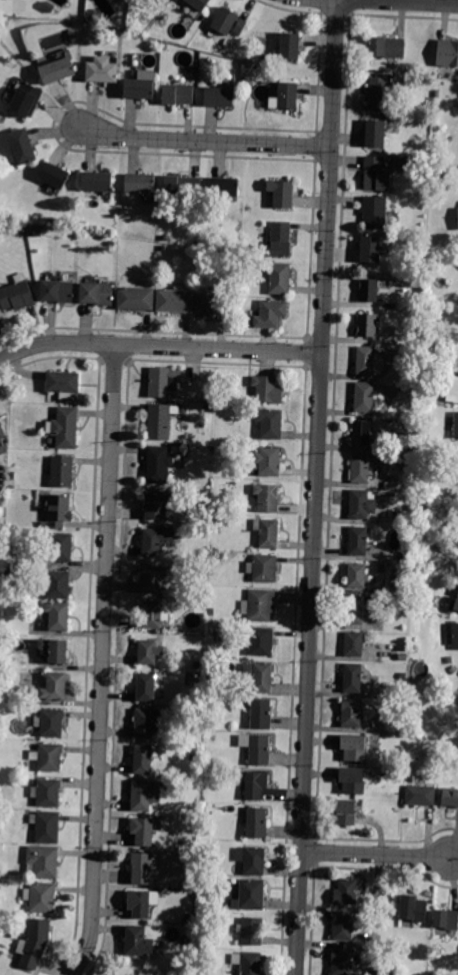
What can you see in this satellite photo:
road: (409, 1)
building: (199, 4)
building: (97, 16)
building: (225, 21)
building: (2, 25)
building: (240, 27)
building: (73, 34)
building: (165, 39)
building: (227, 44)
building: (290, 46)
building: (387, 47)
building: (447, 53)
building: (57, 70)
building: (102, 70)
building: (428, 73)
building: (248, 79)
building: (141, 86)
building: (177, 94)
building: (378, 94)
building: (437, 94)
building: (287, 95)
building: (220, 97)
building: (26, 99)
building: (376, 134)
road: (205, 140)
building: (22, 146)
building: (374, 162)
building: (54, 175)
building: (378, 179)
building: (97, 181)
building: (140, 184)
building: (182, 186)
building: (225, 187)
building: (282, 193)
building: (457, 207)
building: (376, 212)
building: (53, 220)
building: (83, 225)
building: (37, 233)
building: (281, 239)
building: (113, 243)
building: (371, 249)
building: (201, 255)
building: (280, 279)
building: (368, 290)
building: (57, 291)
building: (17, 294)
building: (96, 294)
building: (136, 298)
building: (175, 301)
building: (213, 304)
building: (271, 313)
building: (0, 316)
building: (367, 325)
road: (159, 346)
building: (366, 361)
building: (164, 381)
building: (62, 382)
building: (268, 389)
building: (452, 389)
building: (364, 397)
building: (213, 398)
building: (223, 399)
building: (210, 407)
building: (159, 422)
building: (270, 424)
building: (456, 425)
building: (66, 428)
building: (362, 433)
building: (2, 438)
building: (268, 461)
building: (158, 464)
building: (361, 469)
building: (62, 471)
road: (316, 487)
building: (267, 497)
building: (156, 504)
building: (361, 504)
building: (412, 508)
building: (219, 509)
building: (59, 510)
building: (203, 531)
building: (268, 532)
building: (156, 540)
building: (358, 541)
building: (61, 545)
building: (8, 554)
building: (264, 568)
building: (6, 569)
building: (382, 569)
building: (355, 574)
building: (152, 579)
building: (231, 580)
building: (58, 584)
building: (453, 590)
building: (203, 595)
building: (259, 605)
building: (456, 605)
building: (355, 610)
building: (152, 614)
building: (58, 615)
building: (4, 631)
building: (452, 635)
building: (259, 641)
building: (354, 644)
building: (55, 650)
building: (149, 652)
building: (211, 653)
building: (403, 657)
building: (449, 660)
building: (211, 661)
road: (102, 662)
building: (196, 665)
building: (452, 671)
building: (260, 676)
building: (403, 676)
building: (352, 678)
building: (55, 687)
building: (146, 687)
building: (351, 713)
building: (261, 714)
building: (51, 723)
building: (146, 723)
building: (196, 738)
building: (354, 748)
building: (257, 749)
building: (49, 757)
building: (144, 758)
building: (353, 780)
building: (255, 785)
building: (47, 792)
building: (144, 795)
building: (420, 796)
building: (450, 797)
building: (397, 809)
building: (346, 811)
building: (256, 822)
building: (46, 827)
building: (143, 831)
road: (454, 853)
road: (375, 855)
building: (253, 860)
building: (43, 861)
building: (143, 867)
building: (346, 892)
building: (250, 896)
building: (41, 898)
building: (142, 903)
building: (413, 909)
building: (0, 917)
building: (445, 922)
building: (342, 926)
building: (252, 931)
building: (185, 940)
building: (138, 941)
building: (35, 943)
building: (248, 962)
building: (341, 962)

